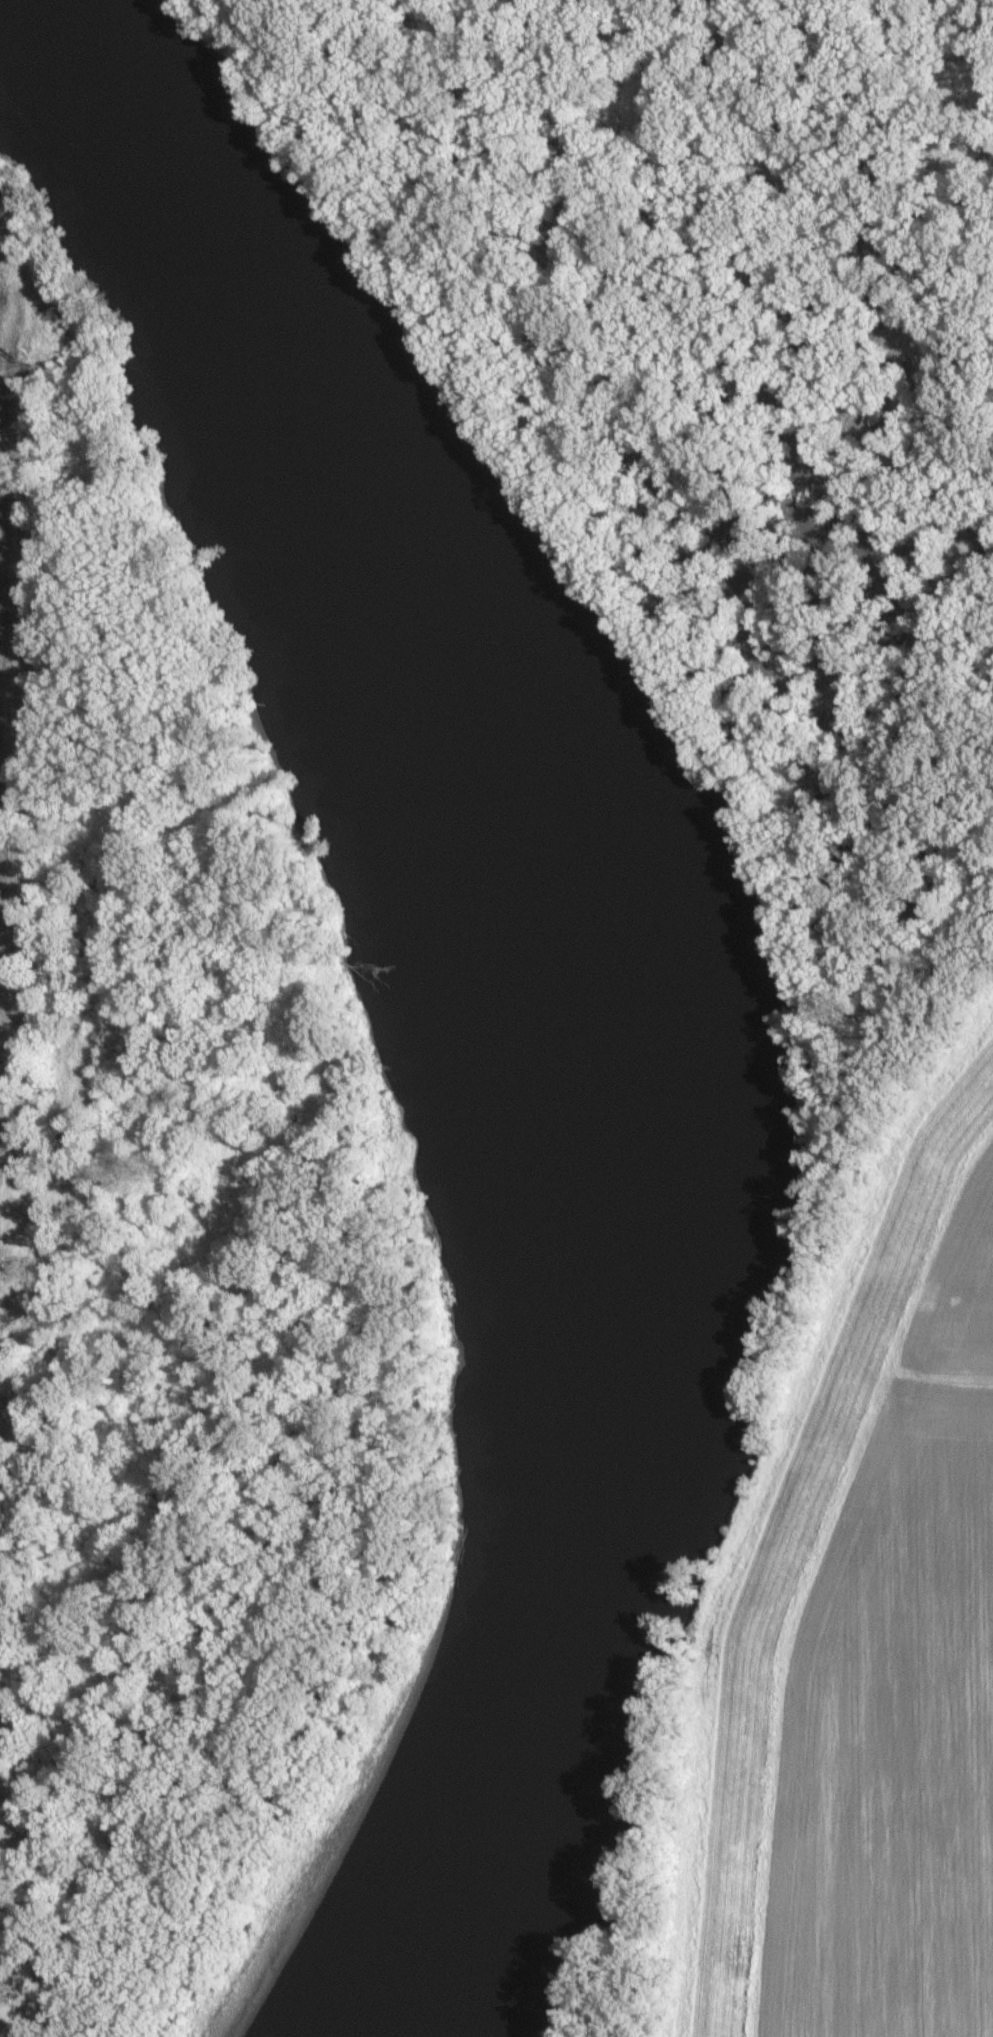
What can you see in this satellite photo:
river: (590, 979)

